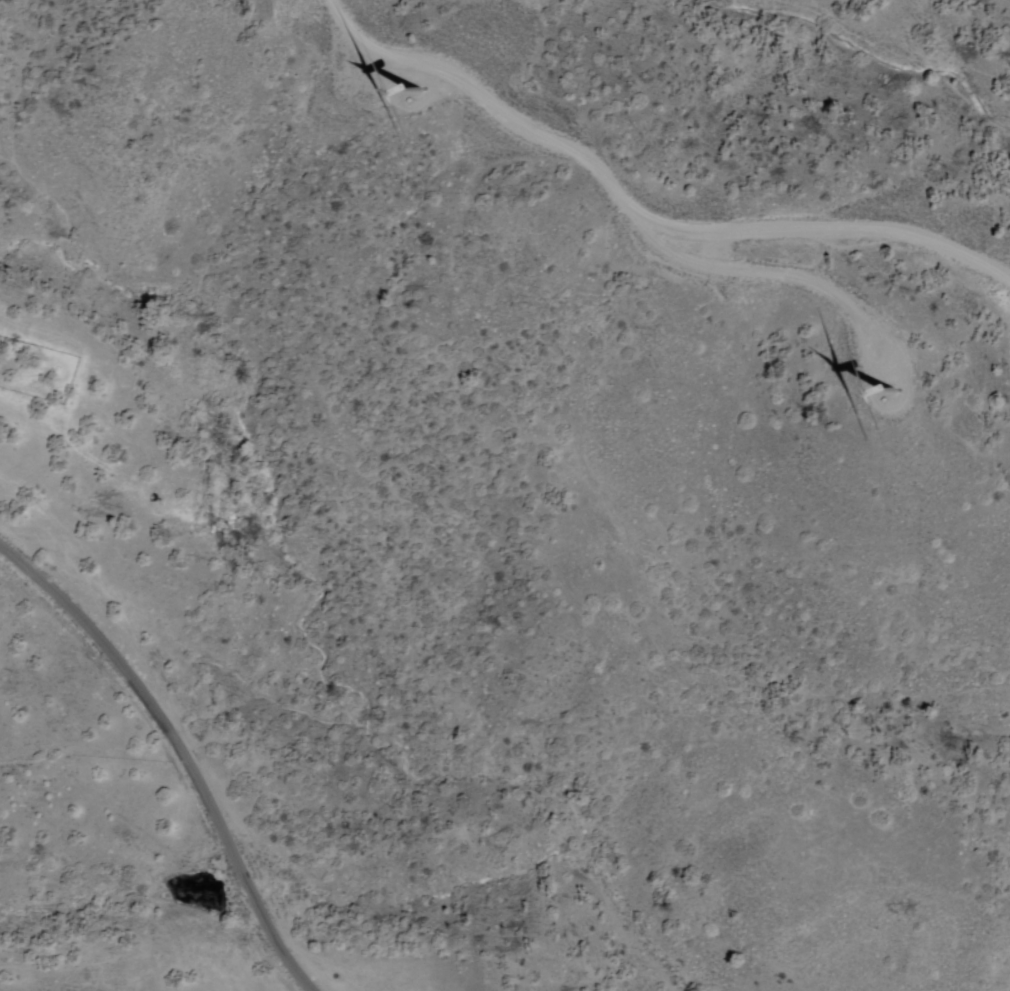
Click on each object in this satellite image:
wind turbine: (402, 83)
wind turbine: (894, 390)
road: (174, 751)

